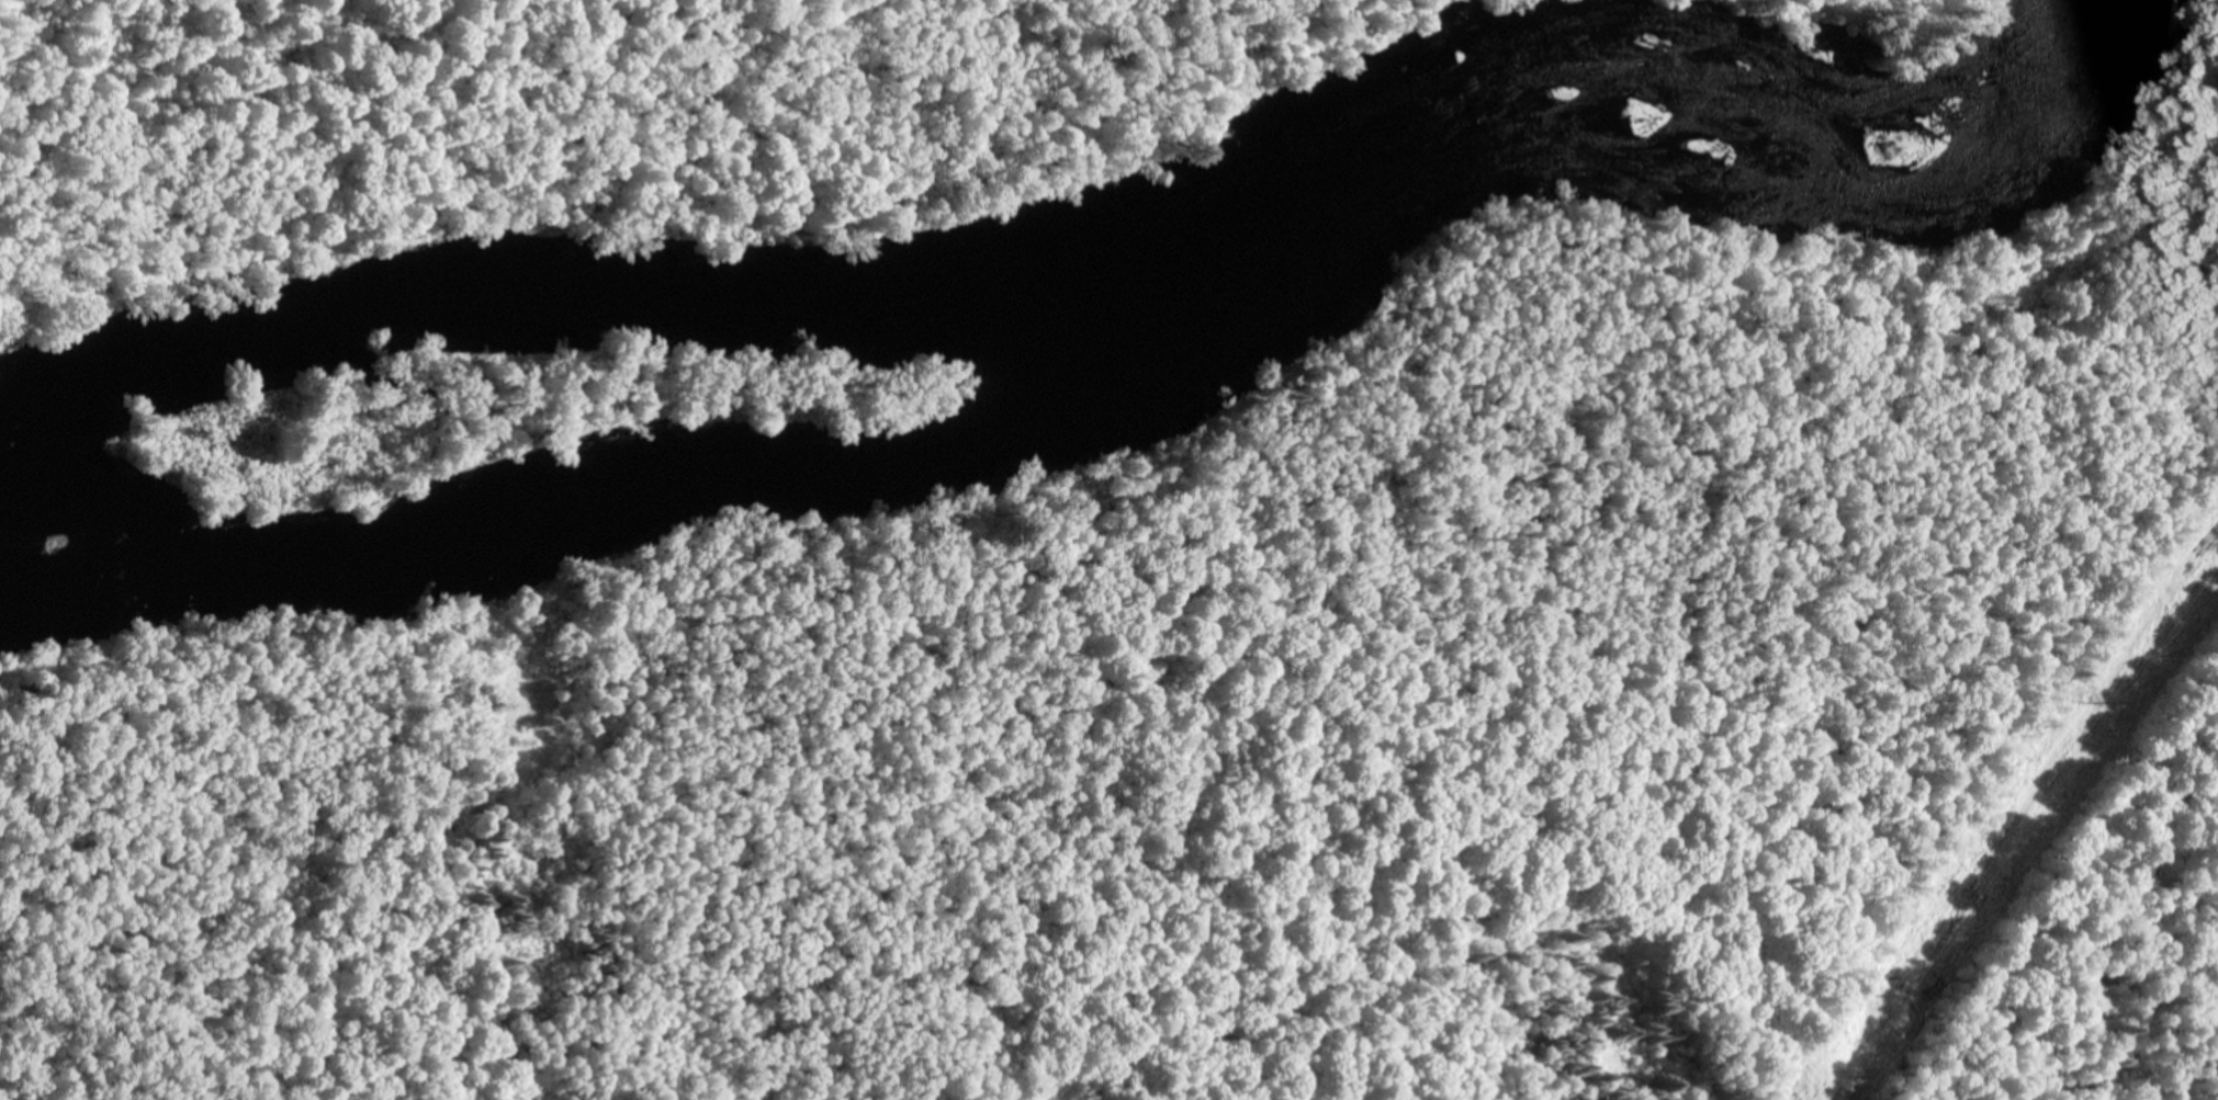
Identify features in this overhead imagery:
river: (1114, 288)

